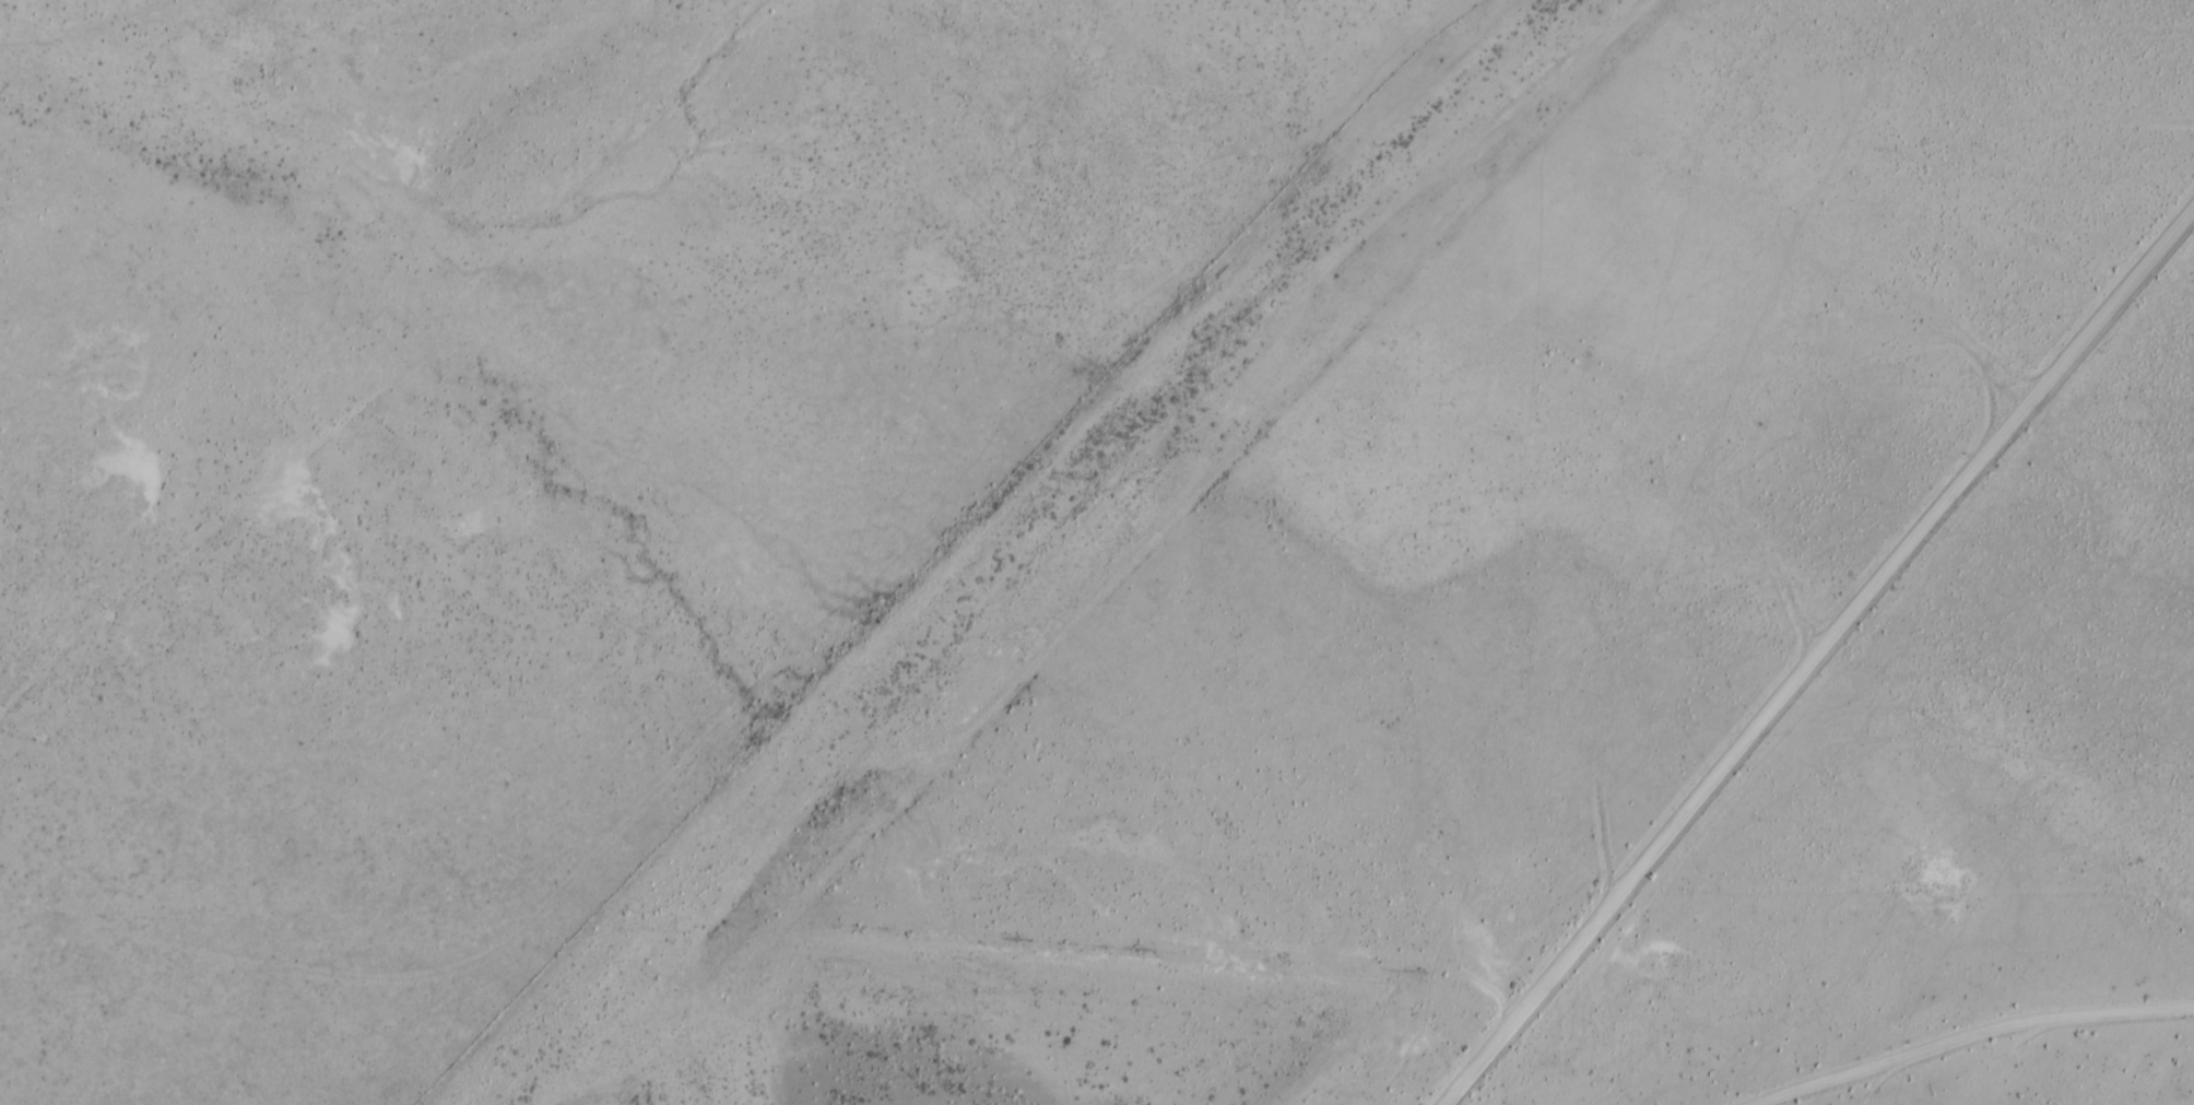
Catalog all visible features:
road: (1814, 651)
road: (1961, 1033)

